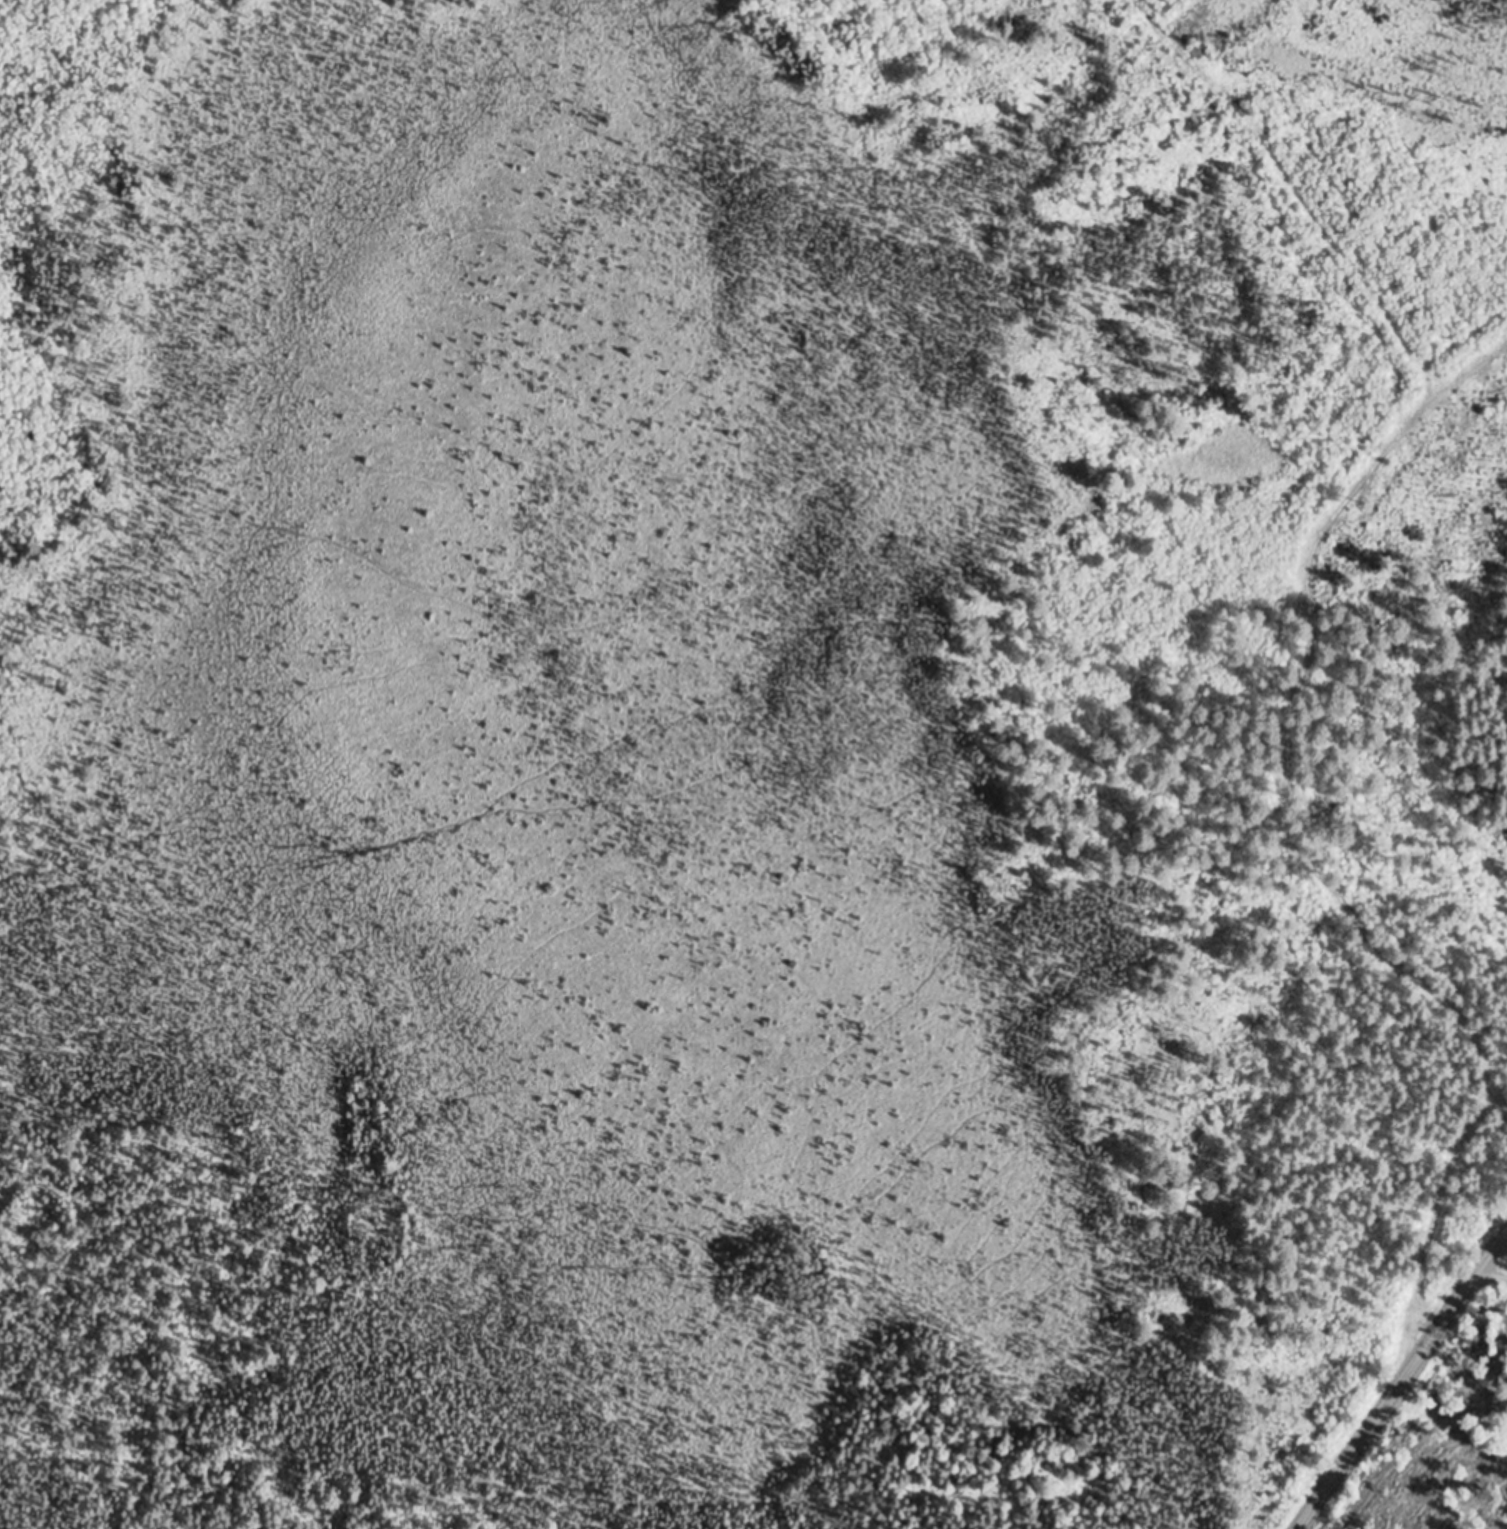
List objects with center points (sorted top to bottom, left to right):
road: (1402, 1383)

